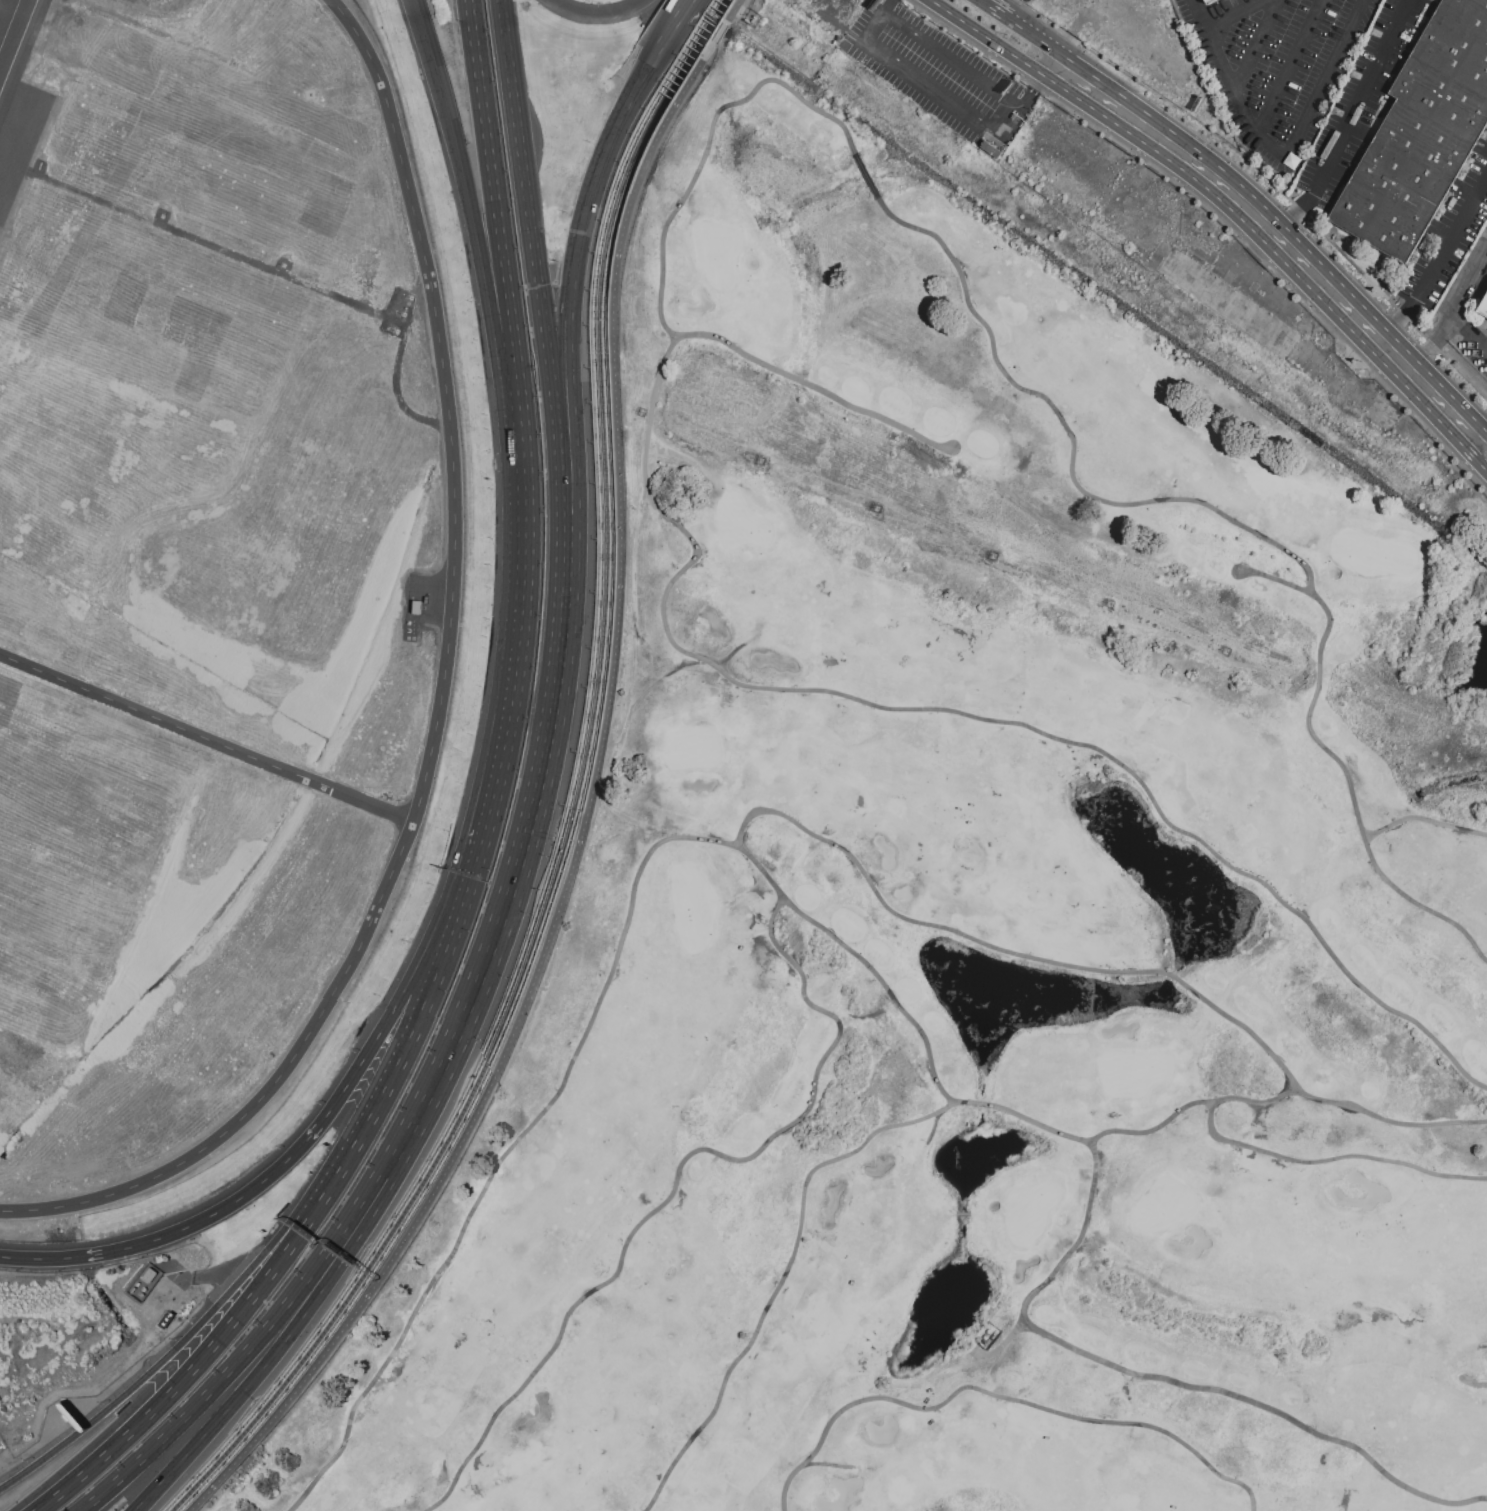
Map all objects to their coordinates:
building: (1204, 0)
building: (1210, 2)
road: (997, 8)
road: (686, 10)
road: (601, 16)
road: (1200, 19)
road: (1238, 19)
airport taxiway: (9, 24)
road: (426, 36)
road: (1043, 40)
road: (1253, 43)
road: (995, 45)
road: (952, 61)
parking lot: (1283, 66)
road: (1287, 67)
parking lot: (939, 73)
road: (647, 76)
road: (919, 76)
road: (1041, 86)
road: (1009, 119)
road: (1349, 121)
building: (1422, 132)
road: (1292, 145)
road: (524, 169)
road: (493, 170)
road: (584, 229)
road: (1282, 236)
road: (1436, 254)
road: (964, 293)
road: (492, 305)
building: (1483, 306)
road: (1454, 313)
road: (1468, 337)
road: (814, 387)
railway: (598, 389)
railway: (604, 390)
road: (1477, 425)
road: (571, 435)
road: (1477, 435)
road: (560, 439)
road: (523, 440)
road: (1471, 455)
road: (521, 650)
airport: (288, 660)
road: (439, 705)
road: (969, 715)
road: (1351, 794)
road: (587, 796)
road: (1423, 819)
road: (531, 830)
road: (757, 866)
road: (461, 879)
road: (473, 882)
park: (968, 922)
road: (1048, 961)
road: (926, 1047)
road: (369, 1055)
road: (381, 1098)
road: (1387, 1119)
road: (400, 1137)
road: (408, 1142)
railway: (436, 1147)
road: (1270, 1152)
railway: (424, 1185)
road: (312, 1202)
road: (318, 1206)
road: (184, 1230)
road: (1075, 1240)
road: (782, 1276)
building: (139, 1286)
road: (242, 1354)
road: (273, 1354)
road: (159, 1363)
road: (184, 1377)
road: (1231, 1394)
road: (1000, 1396)
parking lot: (2, 1448)
railway: (193, 1479)

